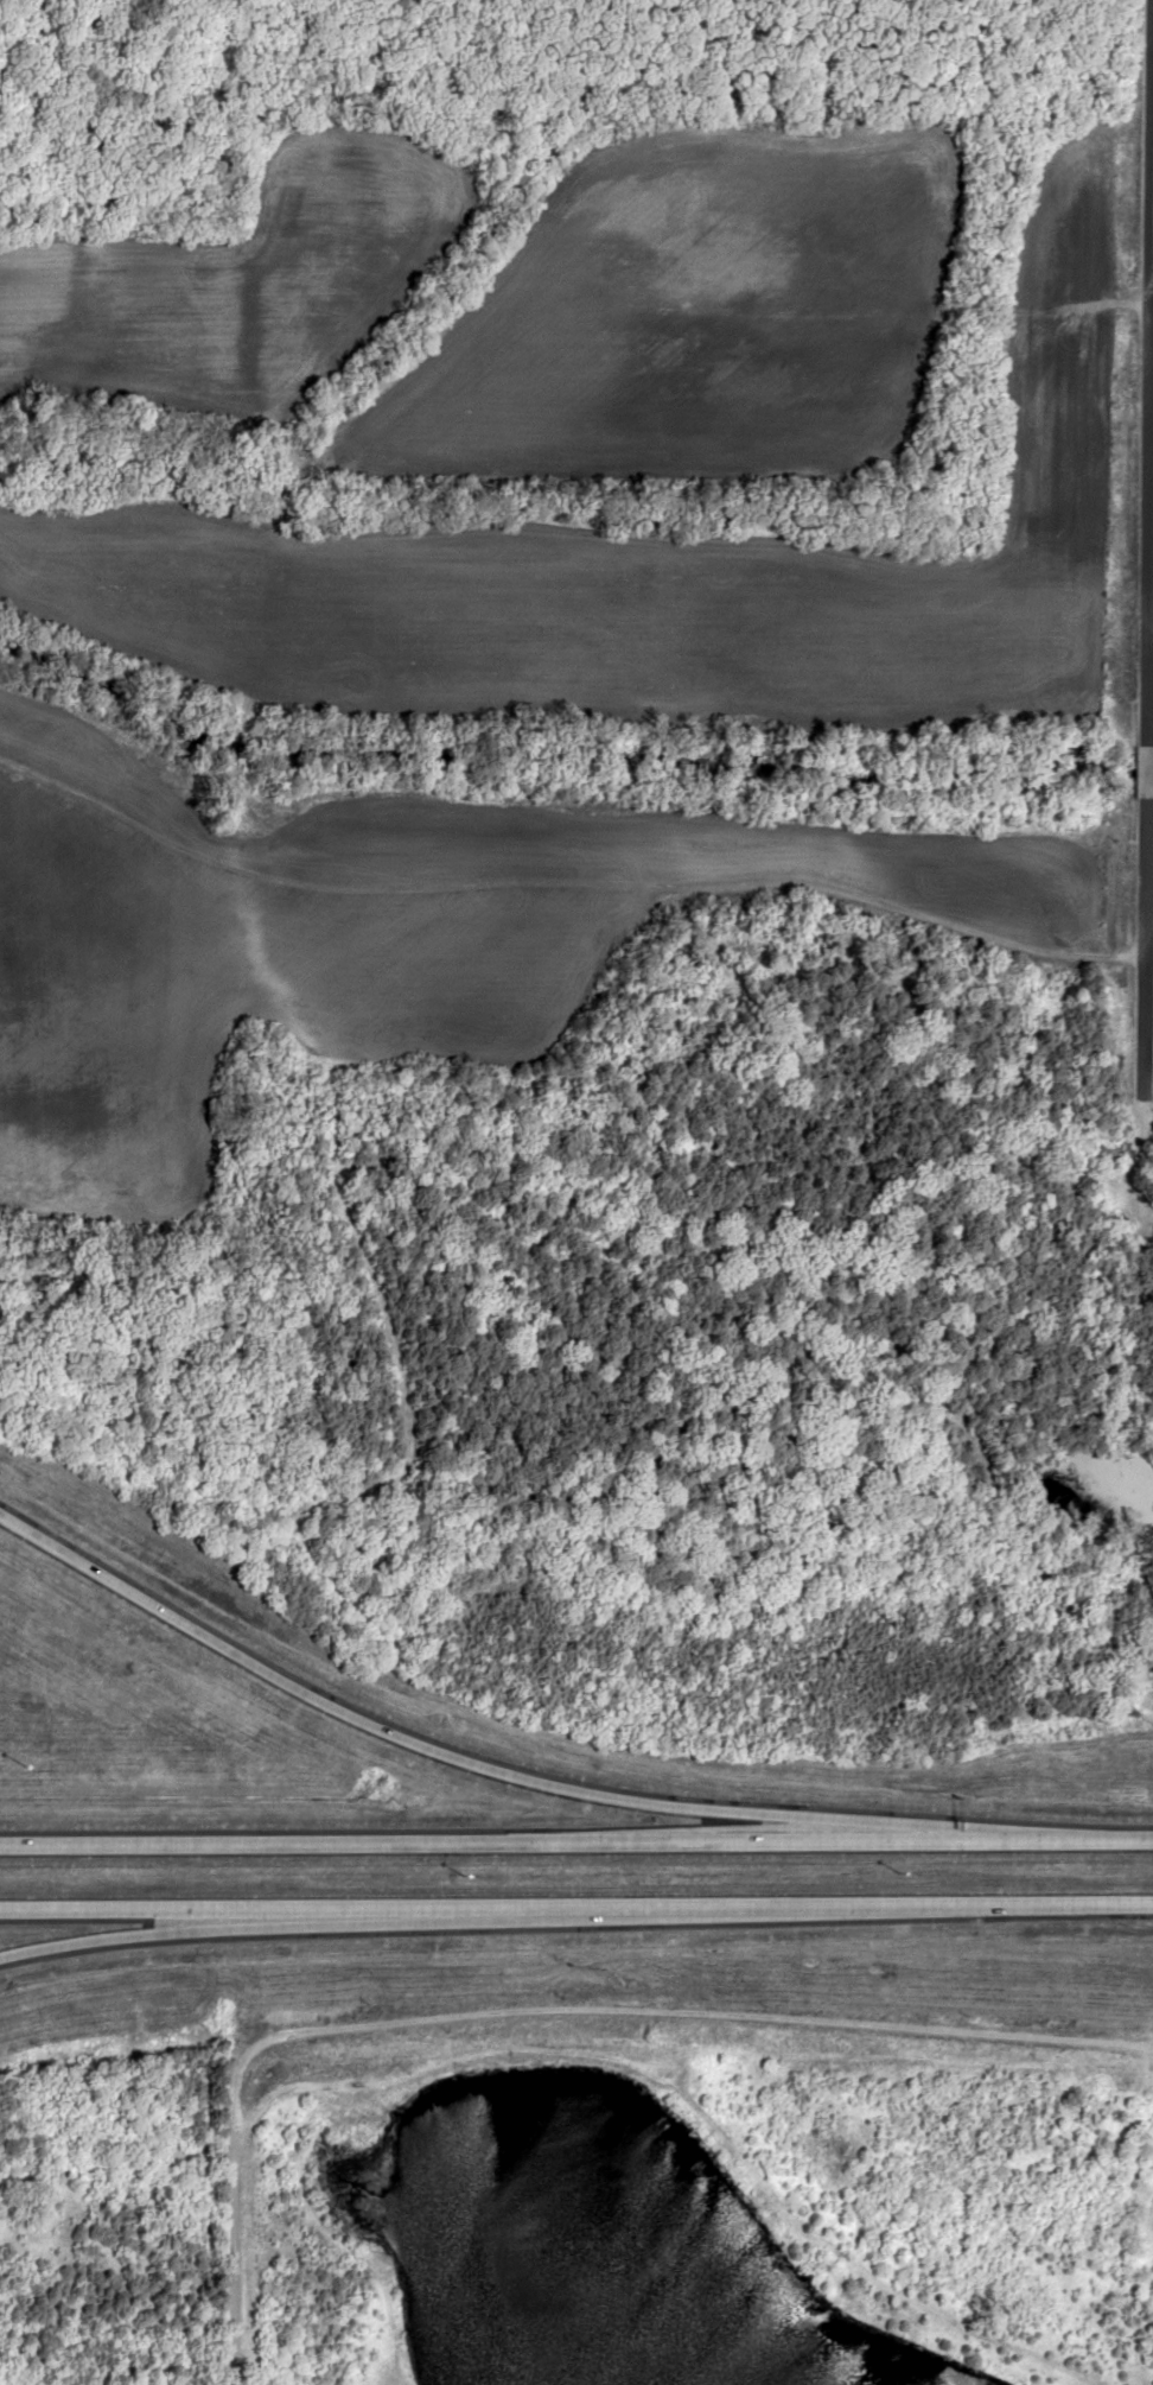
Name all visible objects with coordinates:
road: (1145, 364)
road: (1142, 772)
road: (1141, 945)
road: (486, 1772)
road: (1091, 1838)
road: (515, 1841)
road: (74, 1916)
road: (650, 1916)
road: (74, 1935)
road: (528, 2009)

